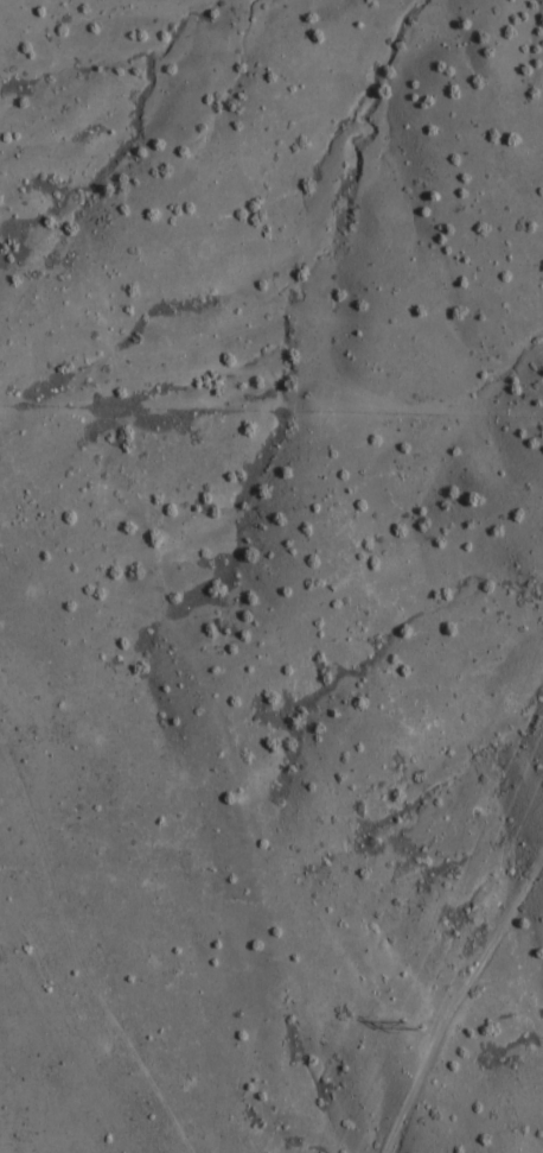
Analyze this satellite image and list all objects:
road: (452, 988)
power tower: (410, 1026)

